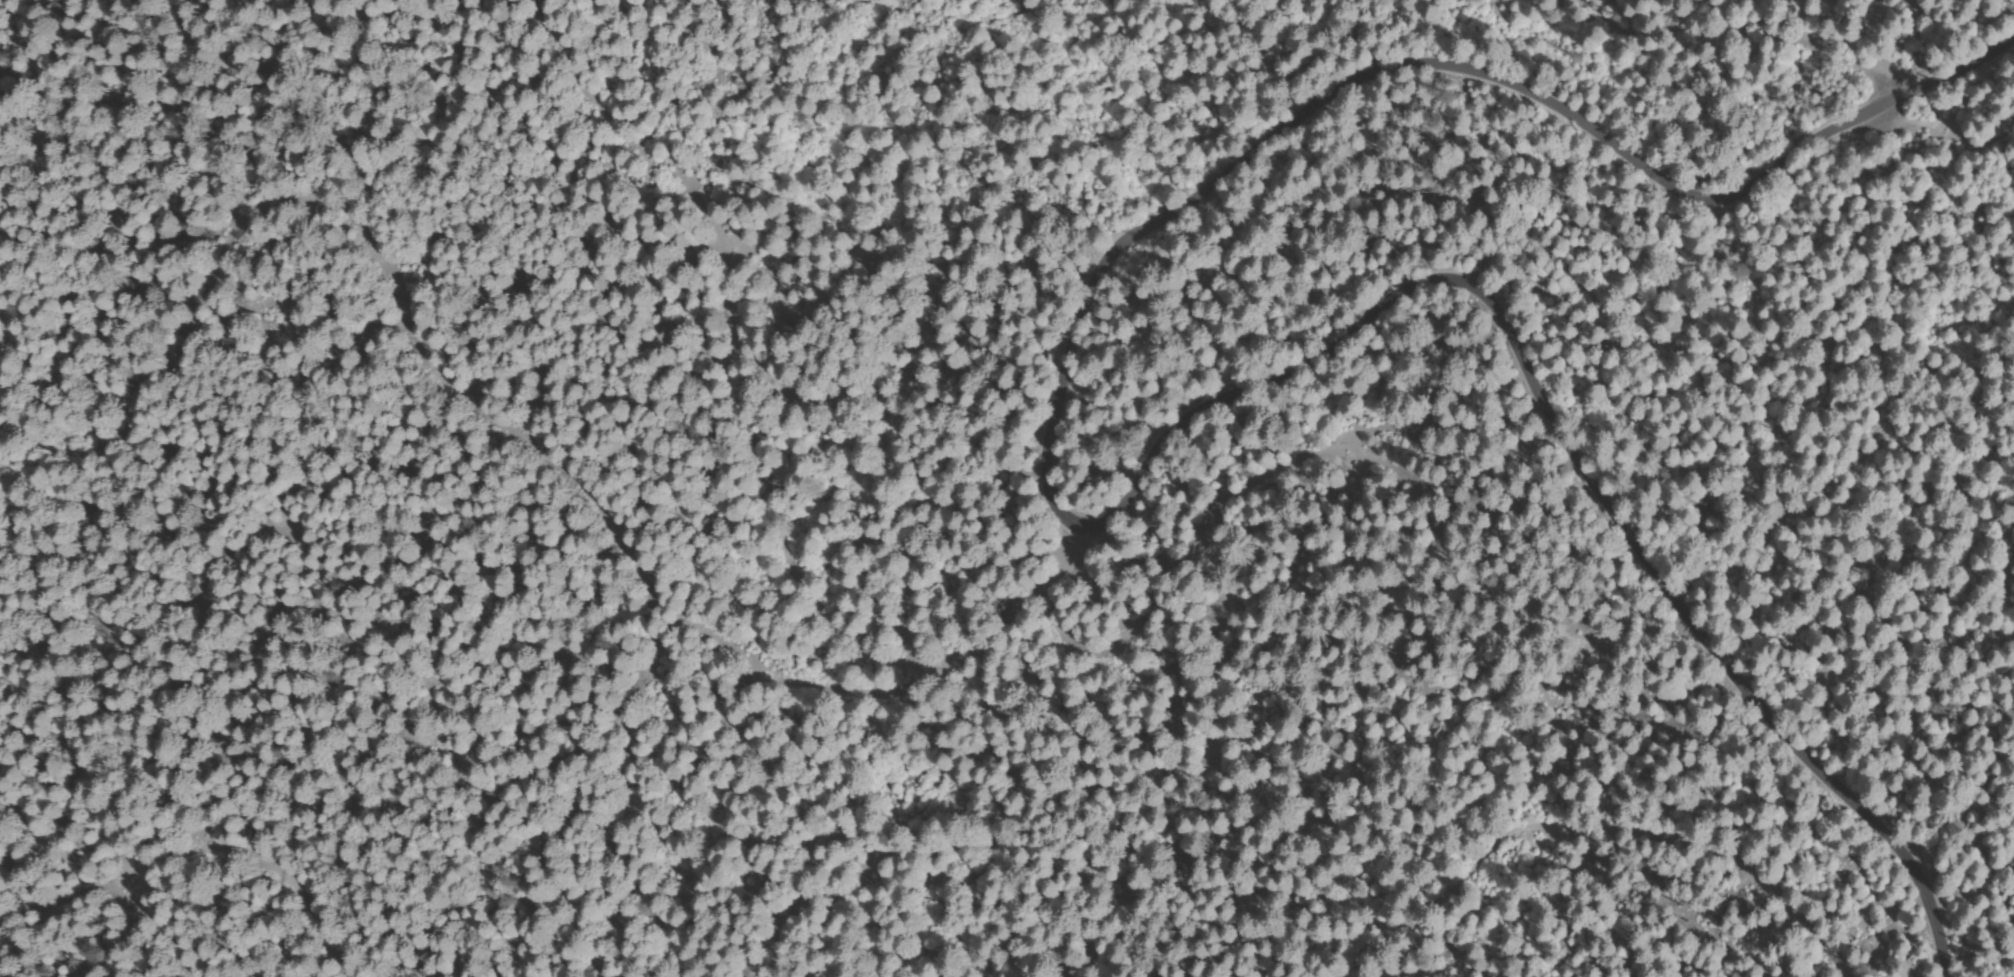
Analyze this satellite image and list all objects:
road: (1406, 70)
road: (491, 362)
road: (1560, 449)

